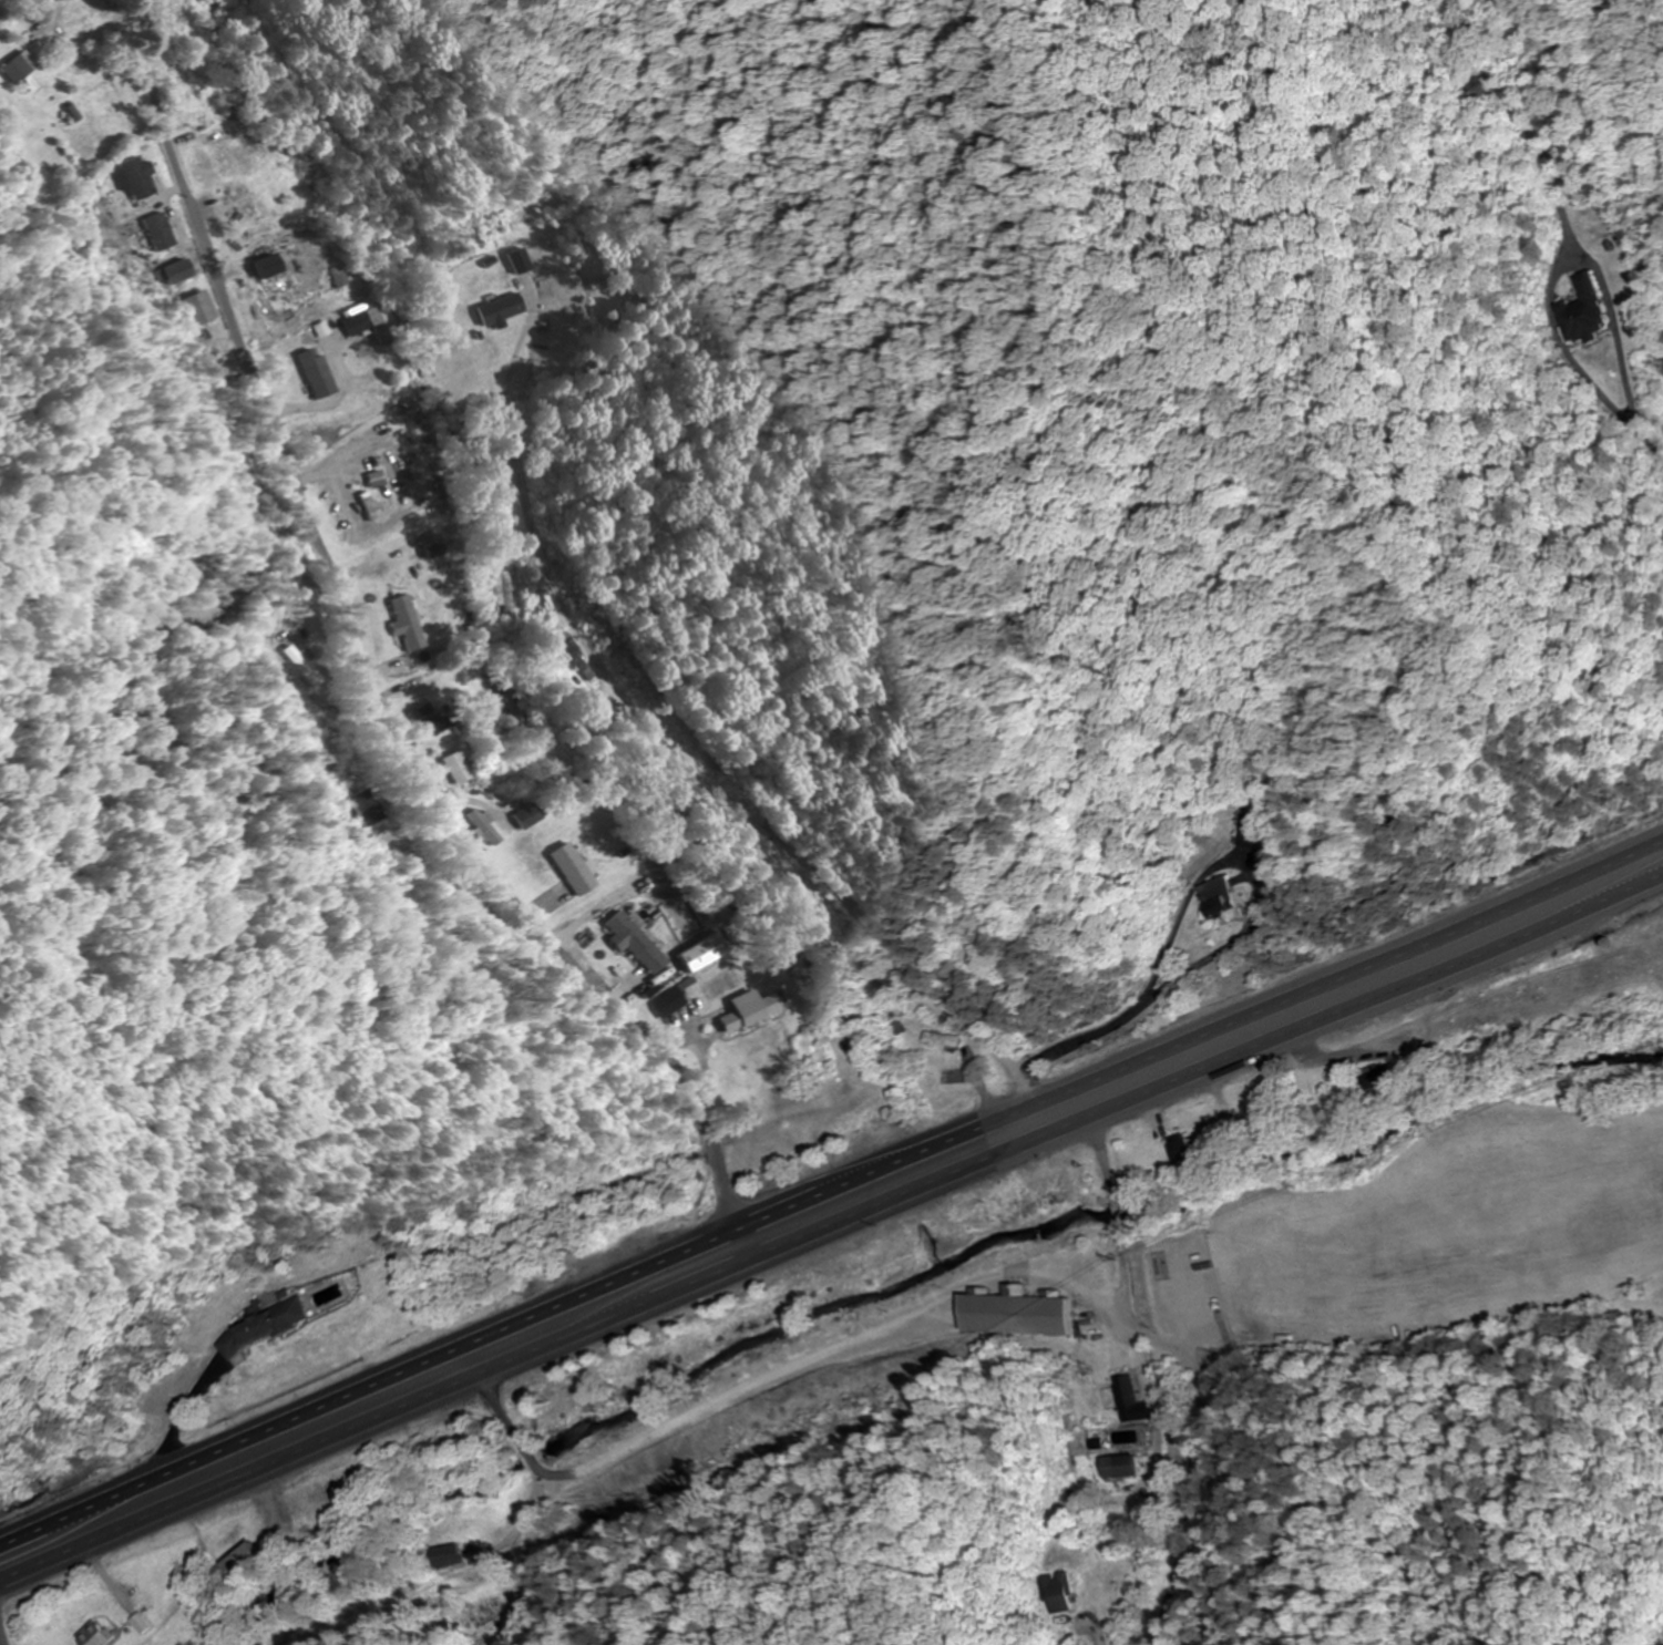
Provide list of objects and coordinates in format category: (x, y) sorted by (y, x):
building: (94, 31)
building: (23, 68)
building: (142, 178)
building: (249, 214)
building: (164, 232)
building: (183, 271)
building: (279, 285)
building: (204, 309)
building: (501, 310)
building: (1584, 311)
building: (374, 323)
road: (242, 340)
building: (321, 374)
building: (381, 480)
building: (438, 551)
building: (503, 596)
building: (412, 617)
building: (307, 666)
building: (434, 719)
building: (461, 769)
building: (372, 808)
building: (530, 818)
building: (576, 871)
building: (1221, 898)
building: (639, 943)
building: (706, 954)
road: (575, 959)
building: (675, 1004)
building: (761, 1010)
building: (945, 1040)
building: (1385, 1078)
building: (1259, 1124)
building: (1189, 1154)
road: (831, 1186)
road: (830, 1228)
building: (1024, 1313)
building: (268, 1328)
building: (1131, 1400)
building: (1122, 1467)
building: (451, 1556)
building: (256, 1561)
building: (1058, 1592)
building: (483, 1613)
building: (146, 1624)
building: (99, 1634)
road: (1, 1642)

